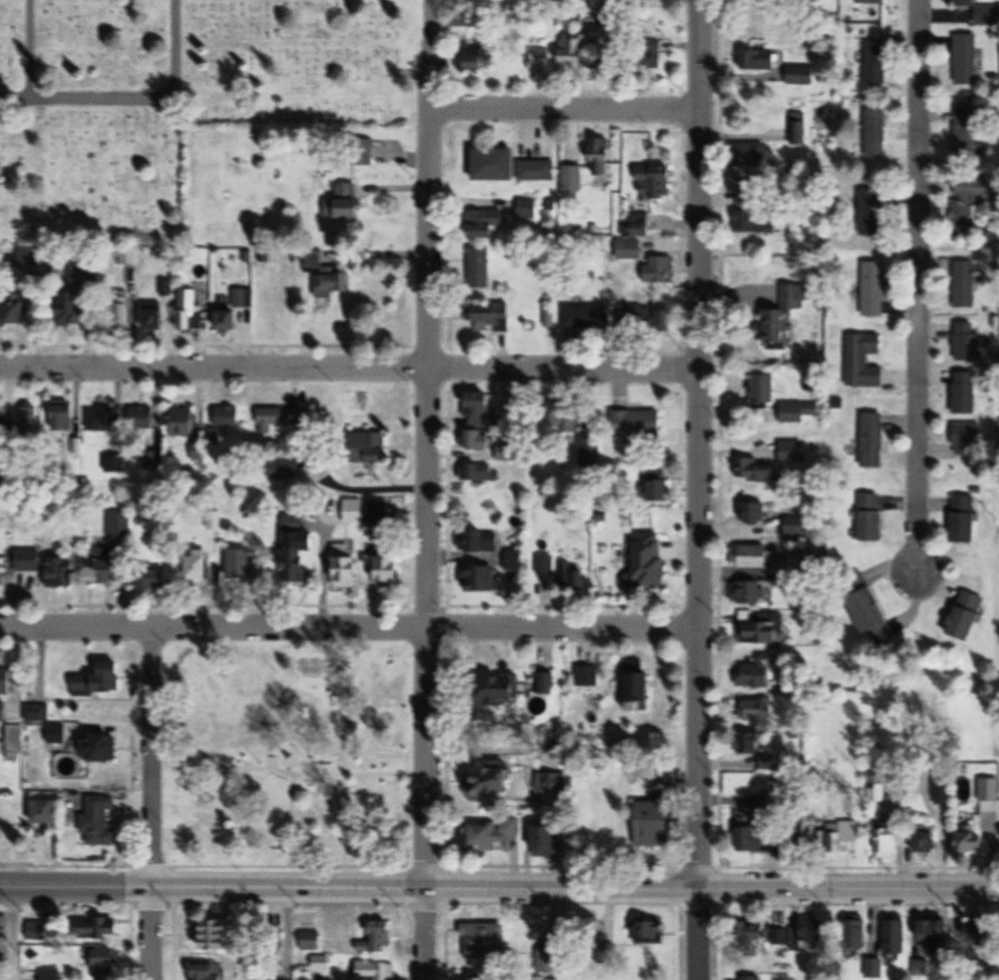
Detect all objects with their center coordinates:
building: (874, 2)
building: (979, 12)
building: (584, 45)
road: (30, 51)
building: (965, 60)
building: (474, 61)
building: (760, 61)
building: (876, 65)
building: (801, 76)
road: (151, 99)
park: (170, 99)
road: (15, 102)
road: (558, 109)
building: (799, 129)
building: (876, 134)
building: (964, 134)
building: (602, 157)
building: (511, 167)
building: (573, 178)
building: (654, 182)
building: (968, 202)
building: (345, 204)
building: (528, 209)
building: (872, 213)
building: (757, 221)
building: (484, 224)
building: (641, 225)
building: (632, 250)
building: (480, 268)
building: (660, 270)
building: (333, 282)
building: (965, 285)
road: (914, 287)
building: (871, 289)
building: (17, 308)
building: (70, 308)
building: (191, 309)
building: (237, 309)
building: (786, 313)
building: (121, 315)
building: (154, 316)
building: (586, 317)
building: (492, 318)
building: (548, 318)
building: (667, 321)
building: (969, 342)
building: (864, 360)
road: (347, 369)
building: (765, 388)
building: (966, 393)
building: (479, 406)
building: (800, 412)
building: (64, 417)
building: (229, 417)
building: (278, 418)
building: (29, 419)
building: (104, 420)
building: (143, 420)
building: (184, 422)
building: (637, 424)
building: (477, 439)
building: (969, 439)
building: (873, 440)
building: (368, 448)
building: (198, 451)
building: (792, 452)
building: (506, 453)
building: (114, 464)
building: (281, 470)
building: (756, 472)
building: (482, 473)
road: (427, 489)
building: (659, 489)
road: (695, 489)
building: (354, 513)
building: (378, 513)
building: (754, 513)
building: (873, 517)
building: (966, 519)
building: (294, 523)
building: (797, 526)
building: (119, 528)
building: (482, 541)
building: (752, 556)
building: (515, 560)
building: (649, 561)
building: (110, 565)
building: (299, 565)
building: (546, 565)
building: (48, 567)
building: (782, 567)
building: (246, 568)
building: (346, 568)
building: (198, 570)
building: (390, 571)
building: (478, 578)
building: (571, 578)
building: (155, 580)
building: (752, 593)
building: (968, 615)
building: (873, 616)
road: (347, 629)
building: (762, 632)
road: (994, 651)
building: (759, 672)
building: (7, 681)
building: (100, 682)
building: (498, 691)
building: (639, 691)
building: (761, 709)
building: (0, 712)
building: (14, 741)
building: (751, 743)
building: (100, 748)
park: (287, 757)
building: (769, 763)
building: (491, 784)
building: (551, 785)
building: (989, 791)
road: (151, 803)
building: (46, 812)
building: (99, 822)
building: (657, 824)
building: (493, 837)
building: (757, 839)
building: (797, 839)
building: (549, 841)
building: (844, 841)
building: (927, 842)
building: (974, 843)
building: (890, 844)
road: (213, 888)
road: (712, 889)
building: (101, 928)
building: (37, 930)
building: (654, 933)
road: (284, 934)
road: (562, 934)
building: (755, 934)
building: (809, 934)
road: (9, 935)
building: (216, 935)
building: (858, 935)
building: (938, 936)
building: (780, 937)
building: (896, 938)
building: (379, 939)
building: (312, 941)
building: (486, 942)
building: (547, 960)
building: (106, 964)
building: (322, 964)
building: (874, 968)
building: (375, 971)
building: (211, 972)
building: (50, 974)
building: (752, 978)
building: (482, 979)

